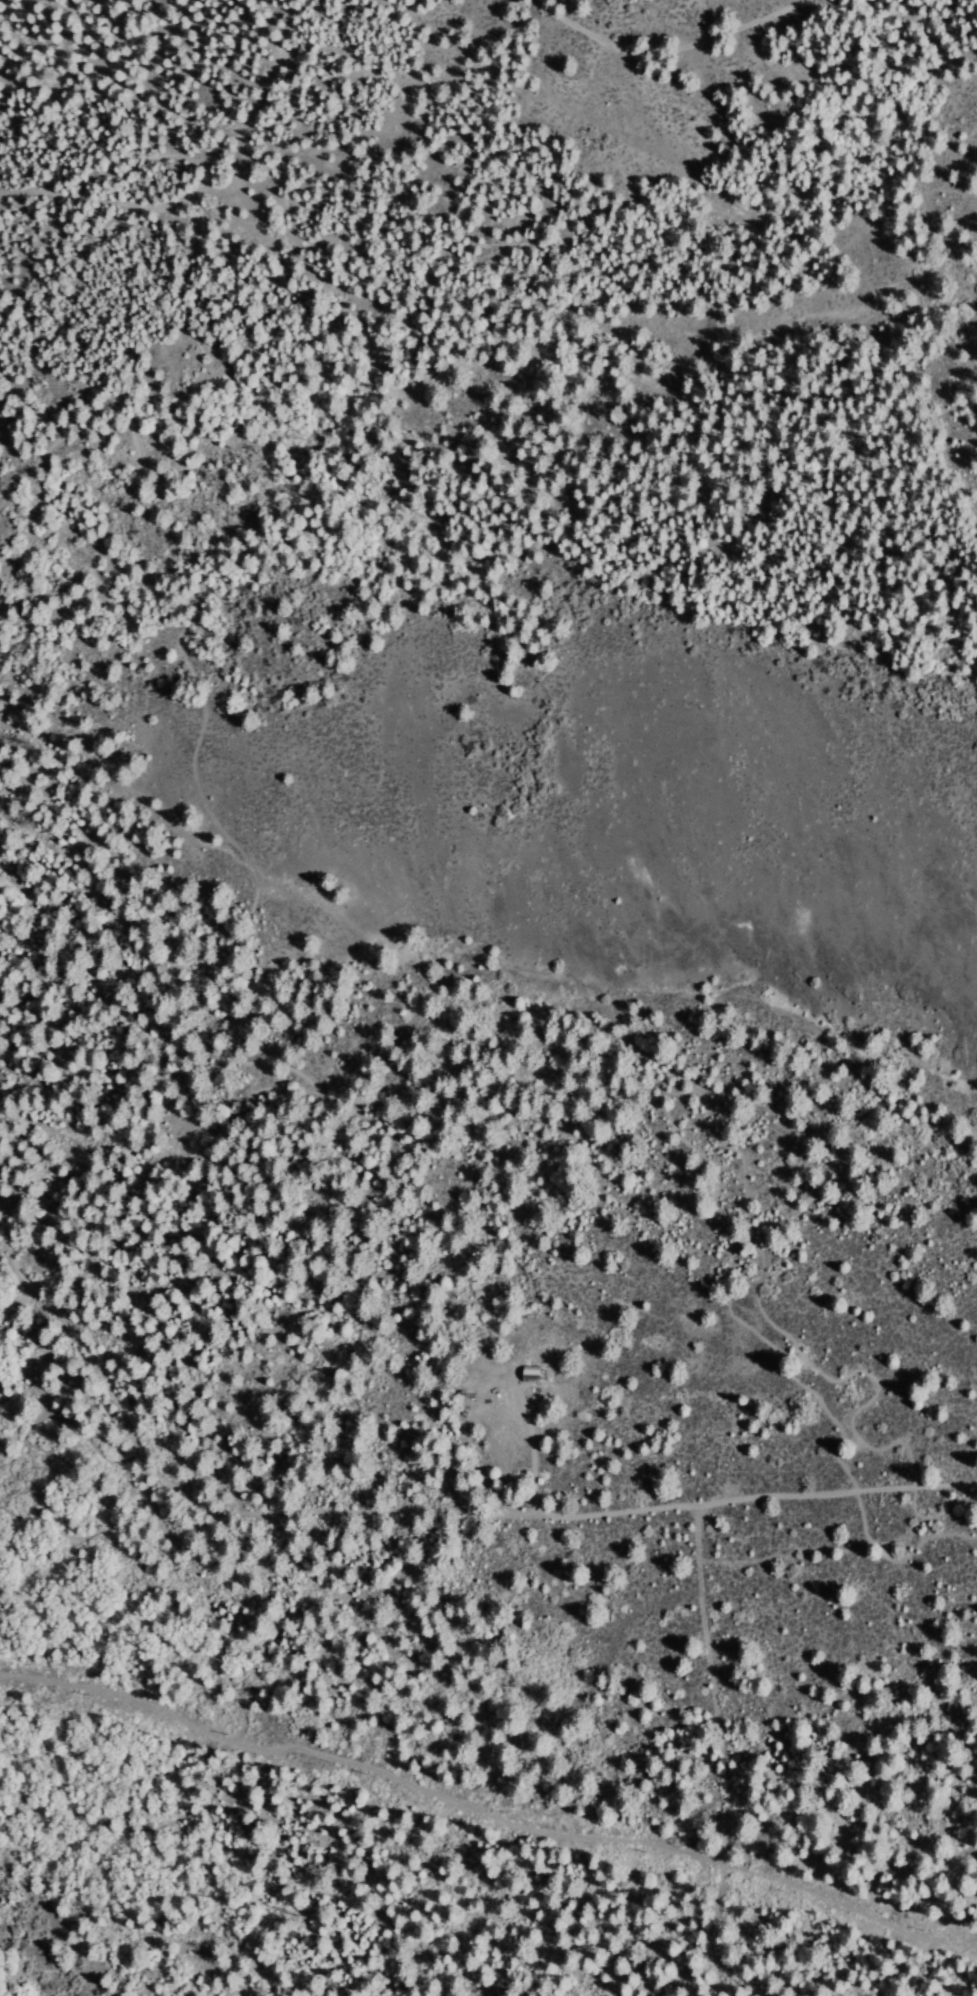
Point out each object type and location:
road: (653, 28)
road: (187, 143)
road: (133, 1447)
road: (592, 1513)
road: (487, 1799)

